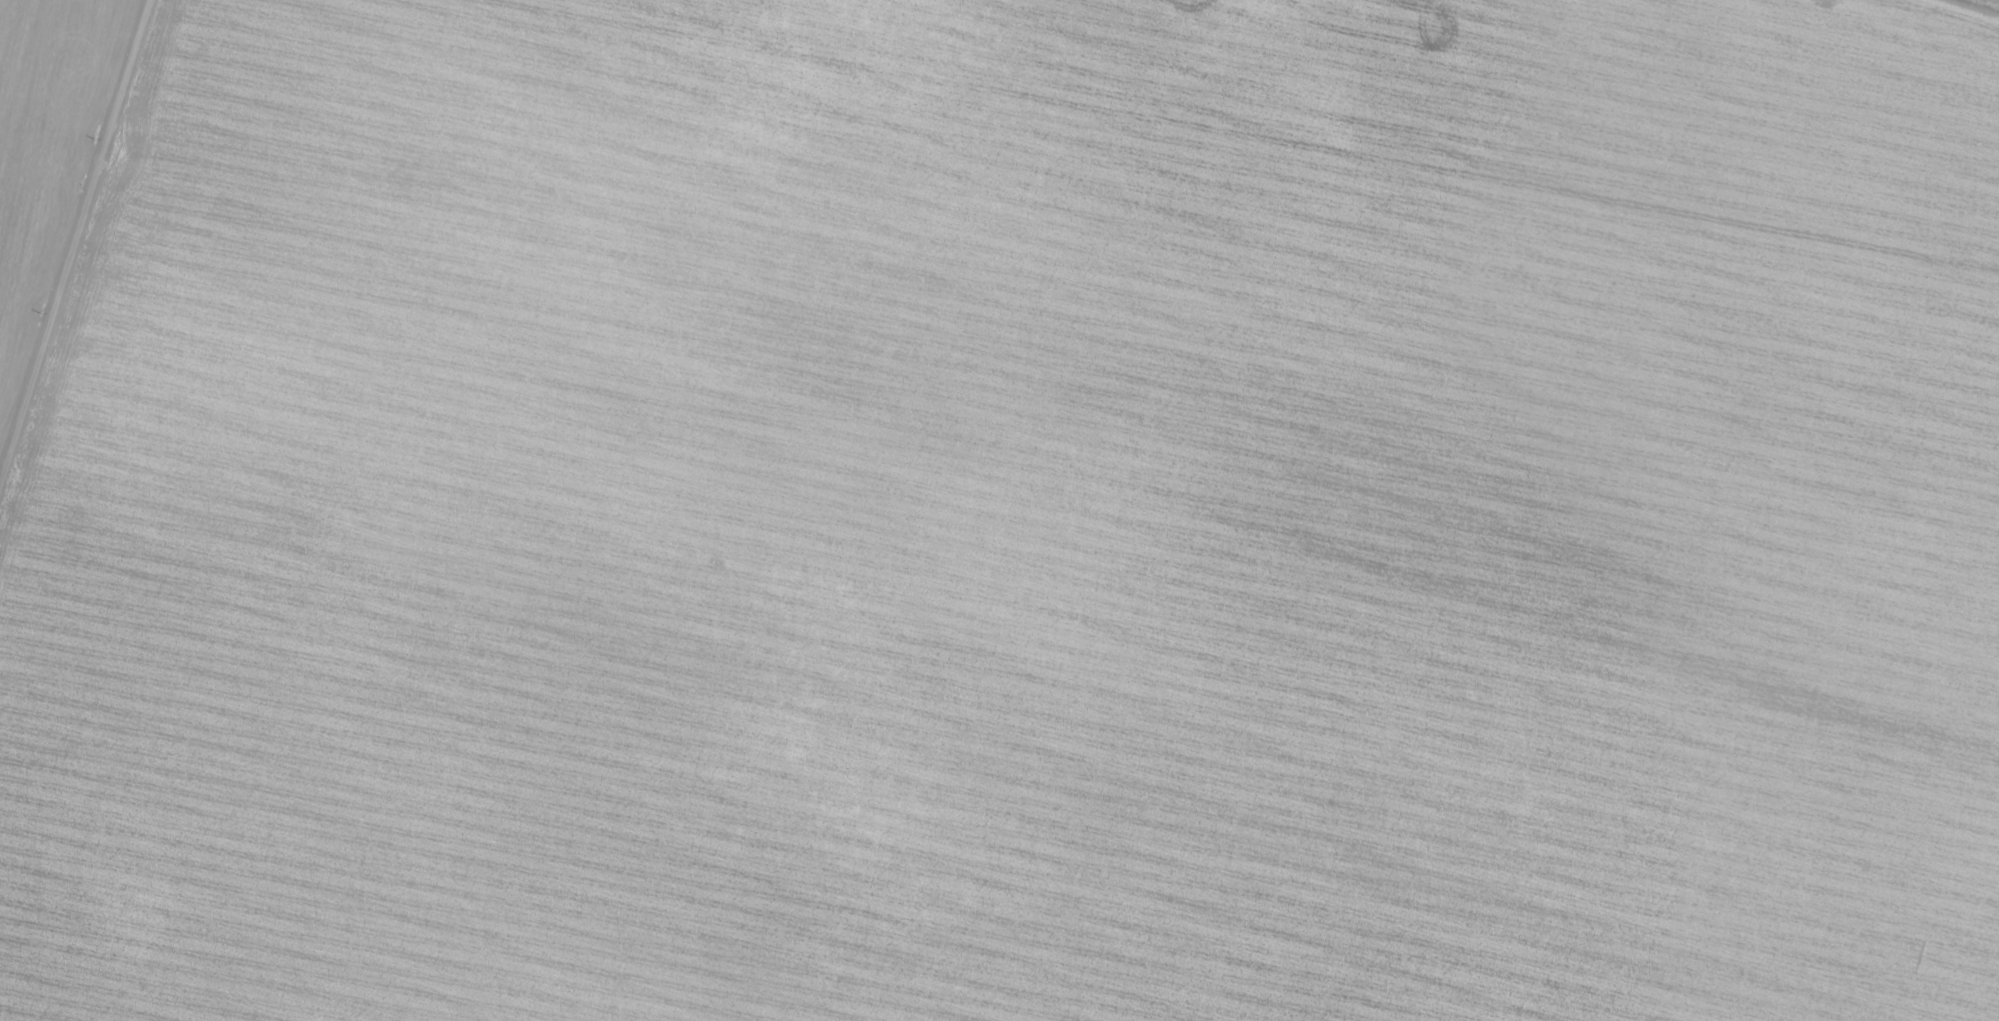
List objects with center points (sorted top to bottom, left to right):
road: (1974, 7)
road: (80, 253)

